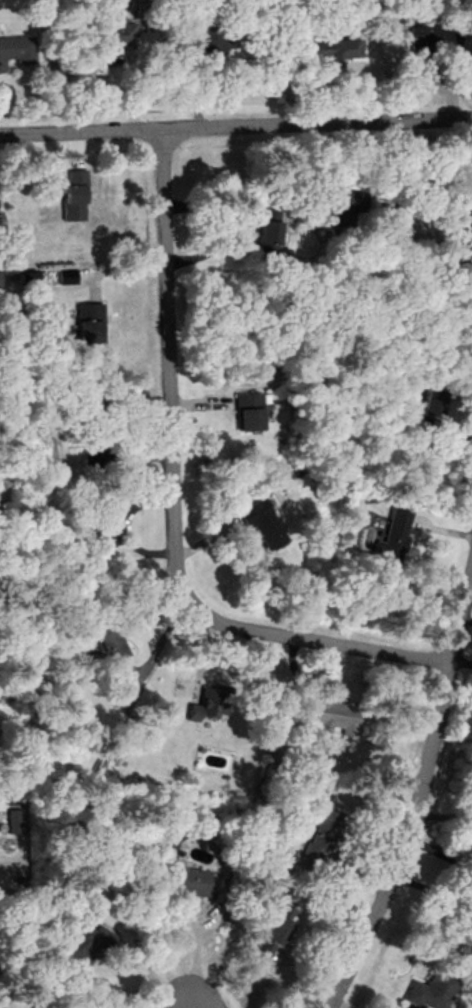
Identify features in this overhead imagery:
building: (427, 38)
building: (110, 40)
building: (202, 42)
building: (328, 51)
building: (16, 53)
road: (235, 122)
road: (335, 169)
building: (73, 195)
building: (464, 204)
building: (328, 209)
building: (264, 233)
building: (89, 317)
building: (246, 413)
road: (165, 501)
building: (260, 527)
building: (102, 532)
building: (391, 539)
road: (466, 593)
road: (464, 614)
building: (107, 648)
road: (459, 659)
building: (193, 715)
building: (330, 718)
road: (418, 782)
building: (318, 839)
building: (179, 883)
building: (466, 891)
building: (272, 934)
building: (82, 944)
building: (424, 992)
road: (168, 1003)

